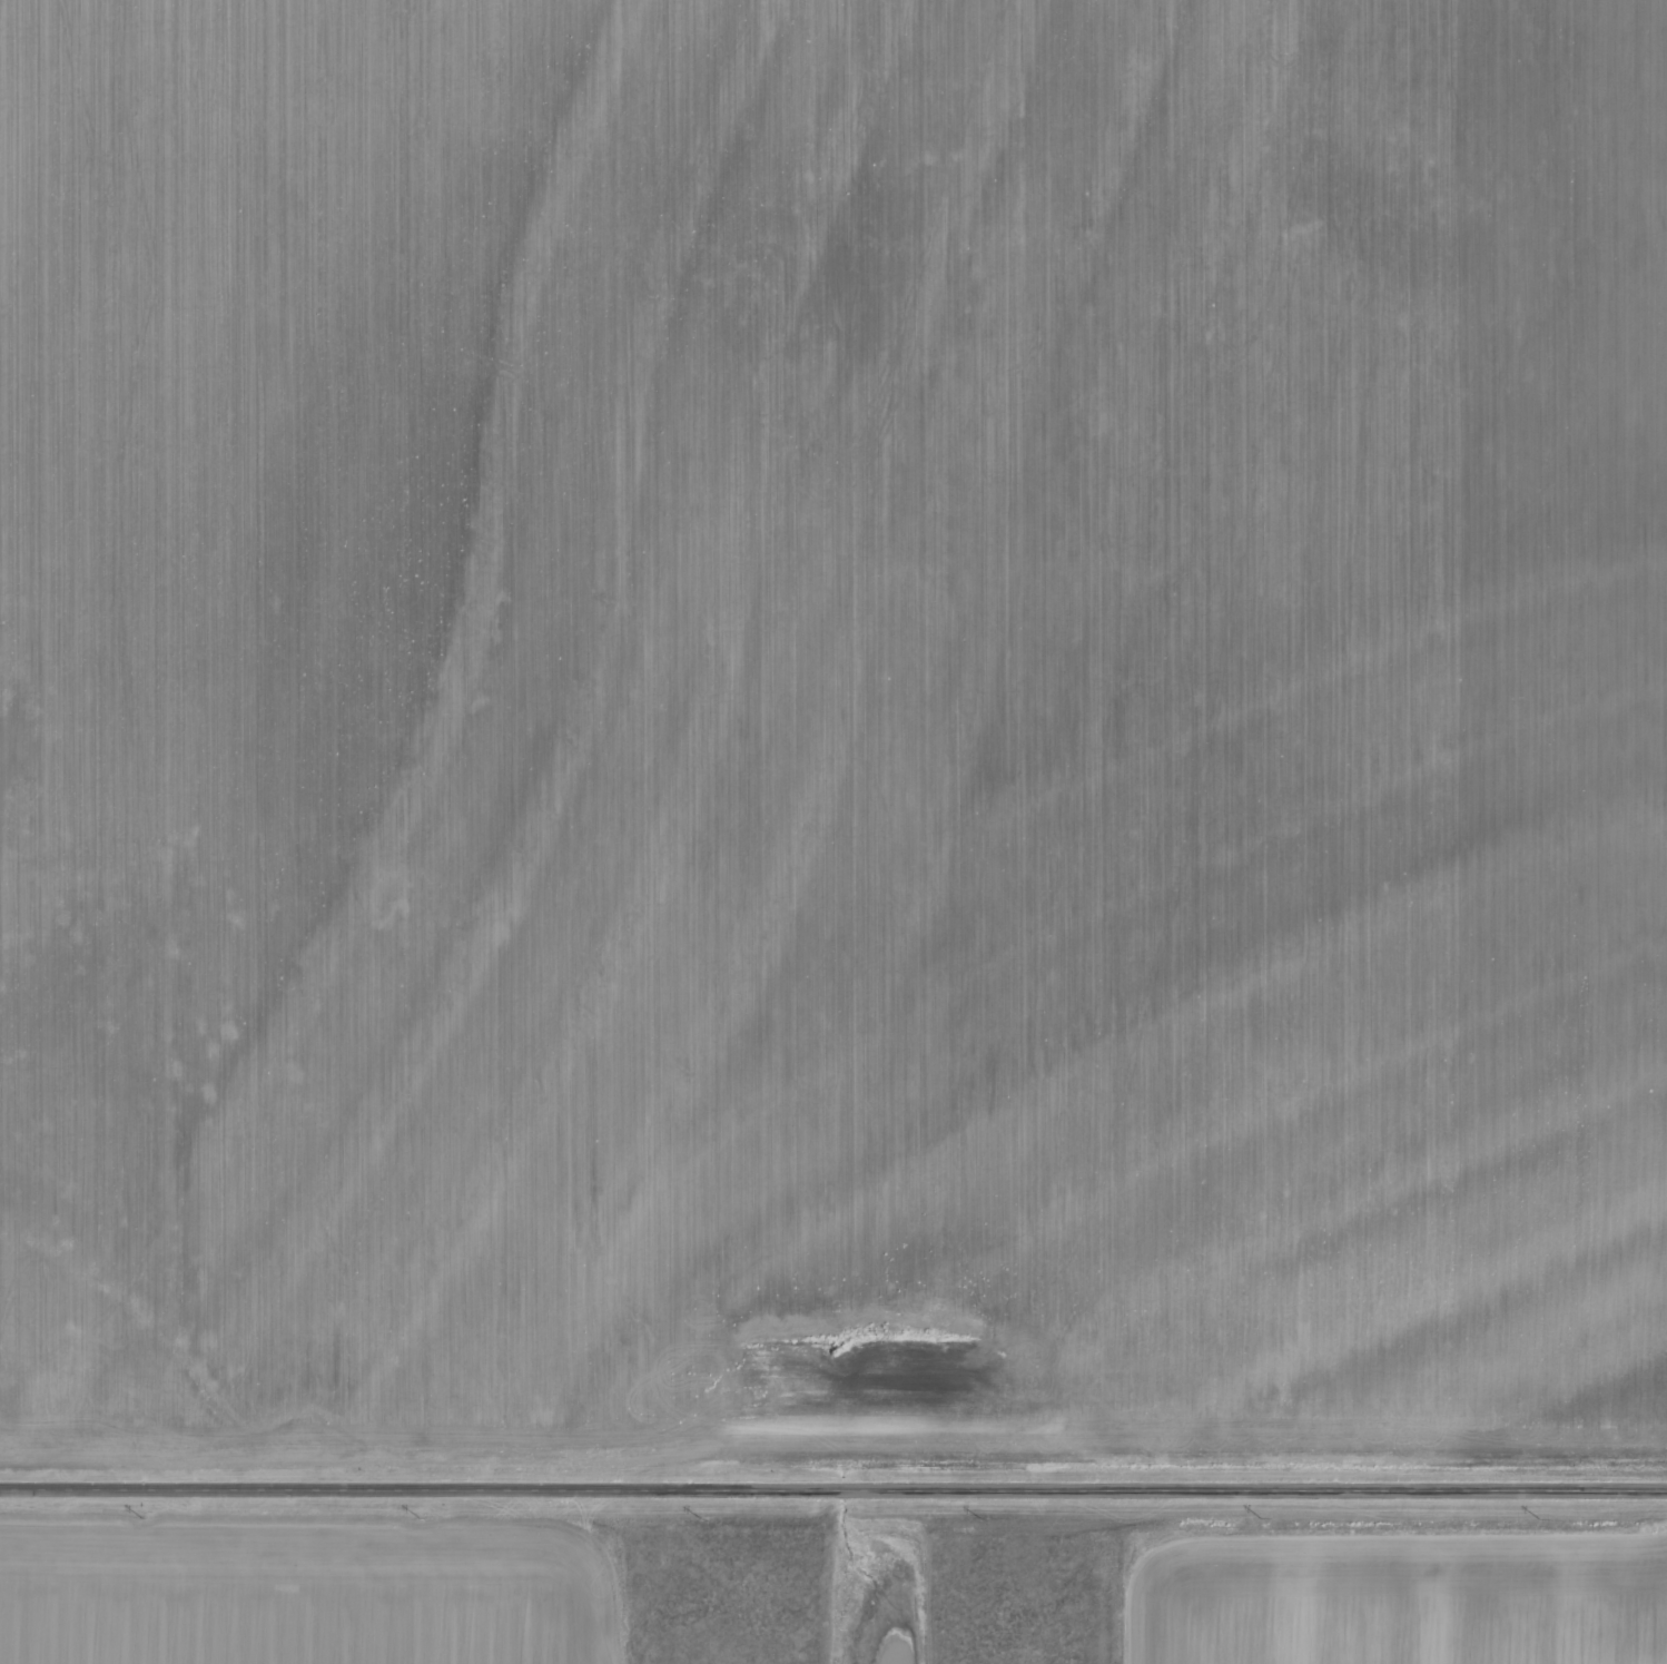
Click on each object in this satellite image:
road: (833, 1498)

